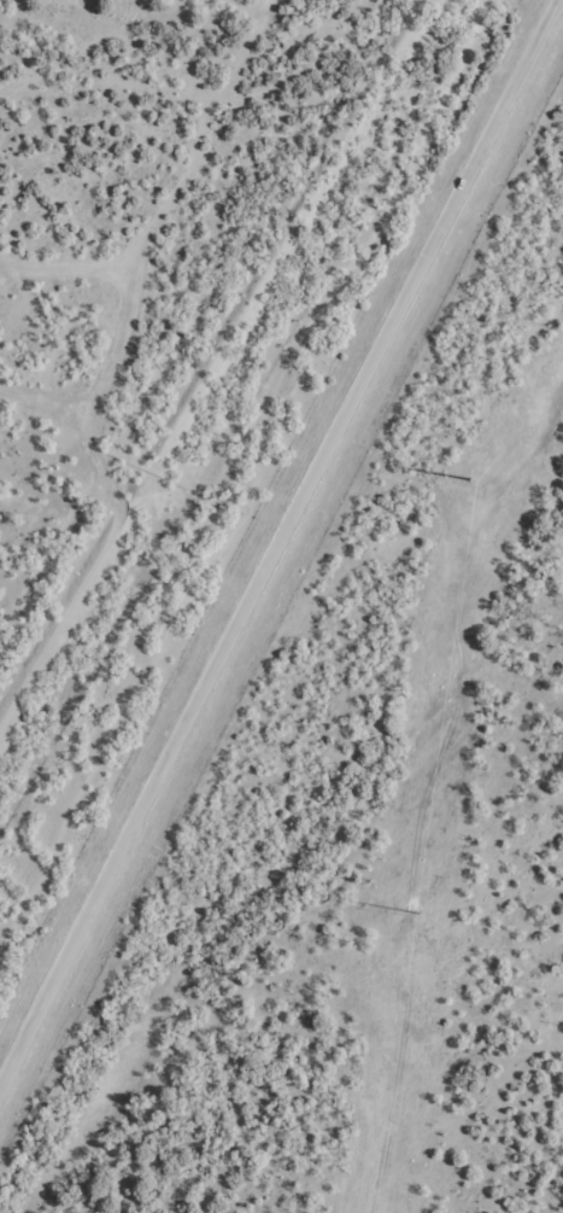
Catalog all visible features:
railway: (239, 400)
power tower: (471, 488)
road: (275, 550)
road: (448, 769)
river: (271, 899)
power tower: (421, 919)

